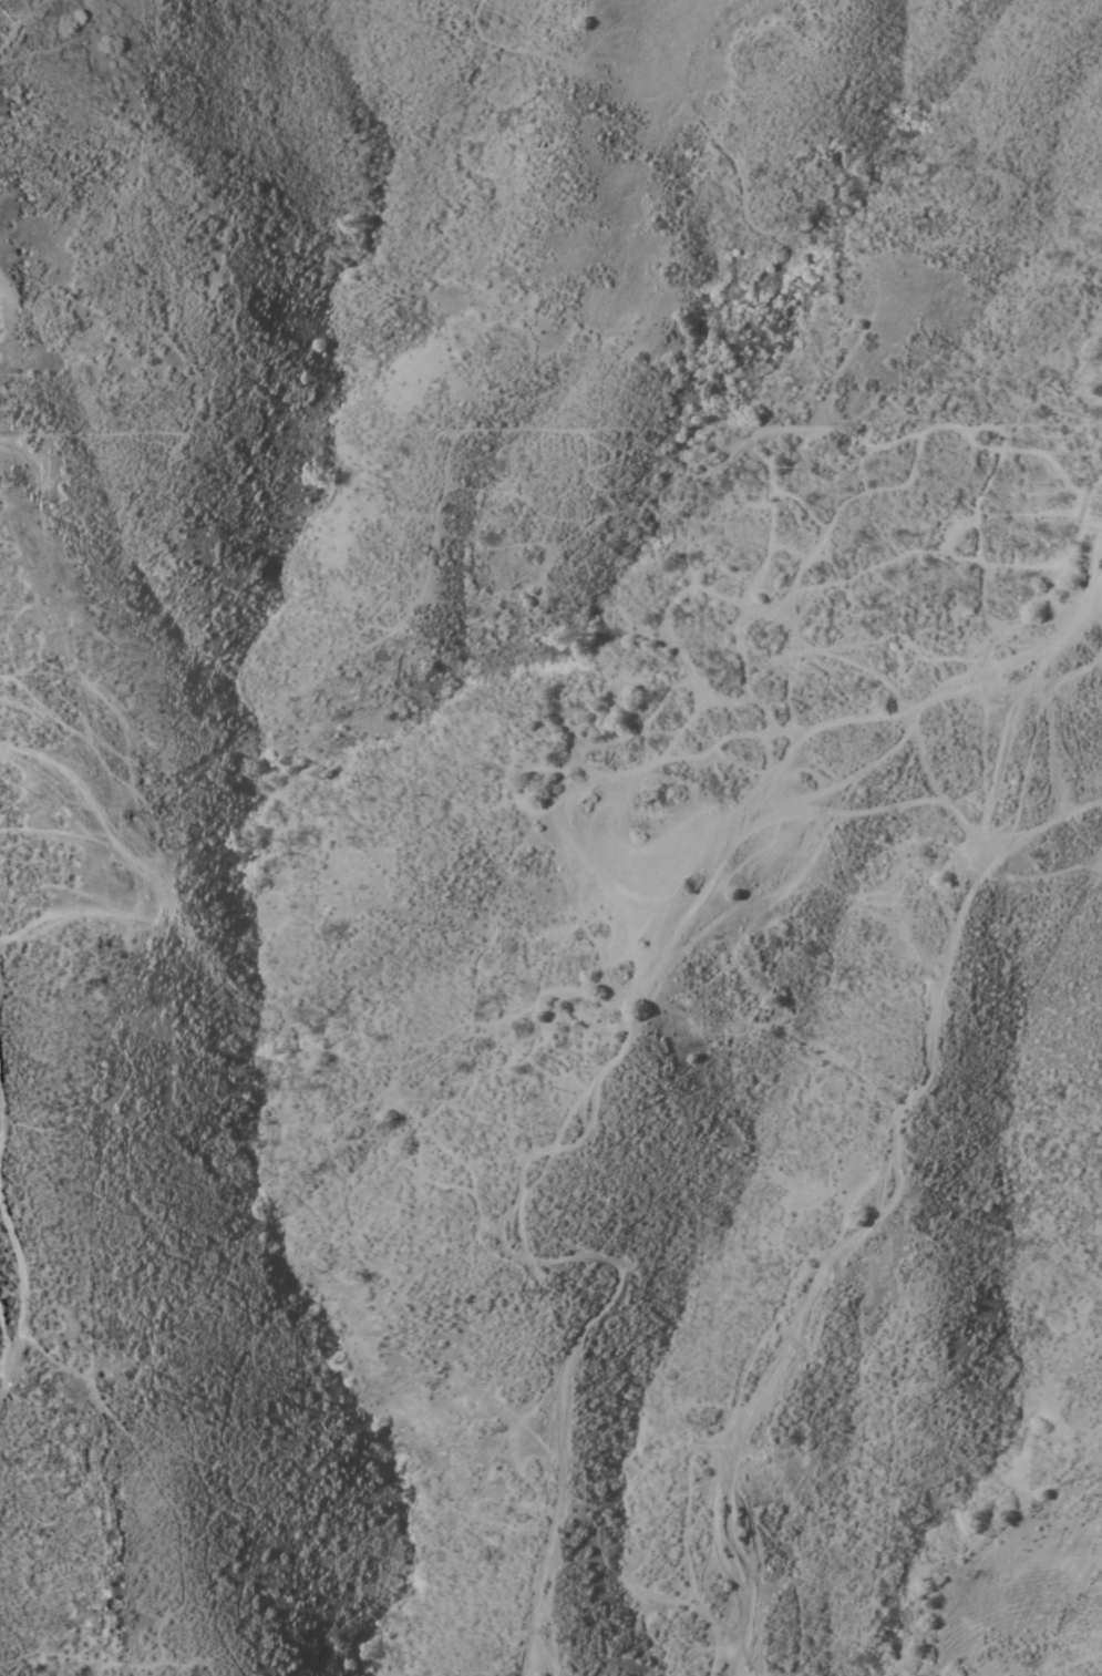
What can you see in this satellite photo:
road: (1081, 627)
road: (950, 657)
road: (894, 1156)
road: (497, 1197)
road: (20, 1300)

